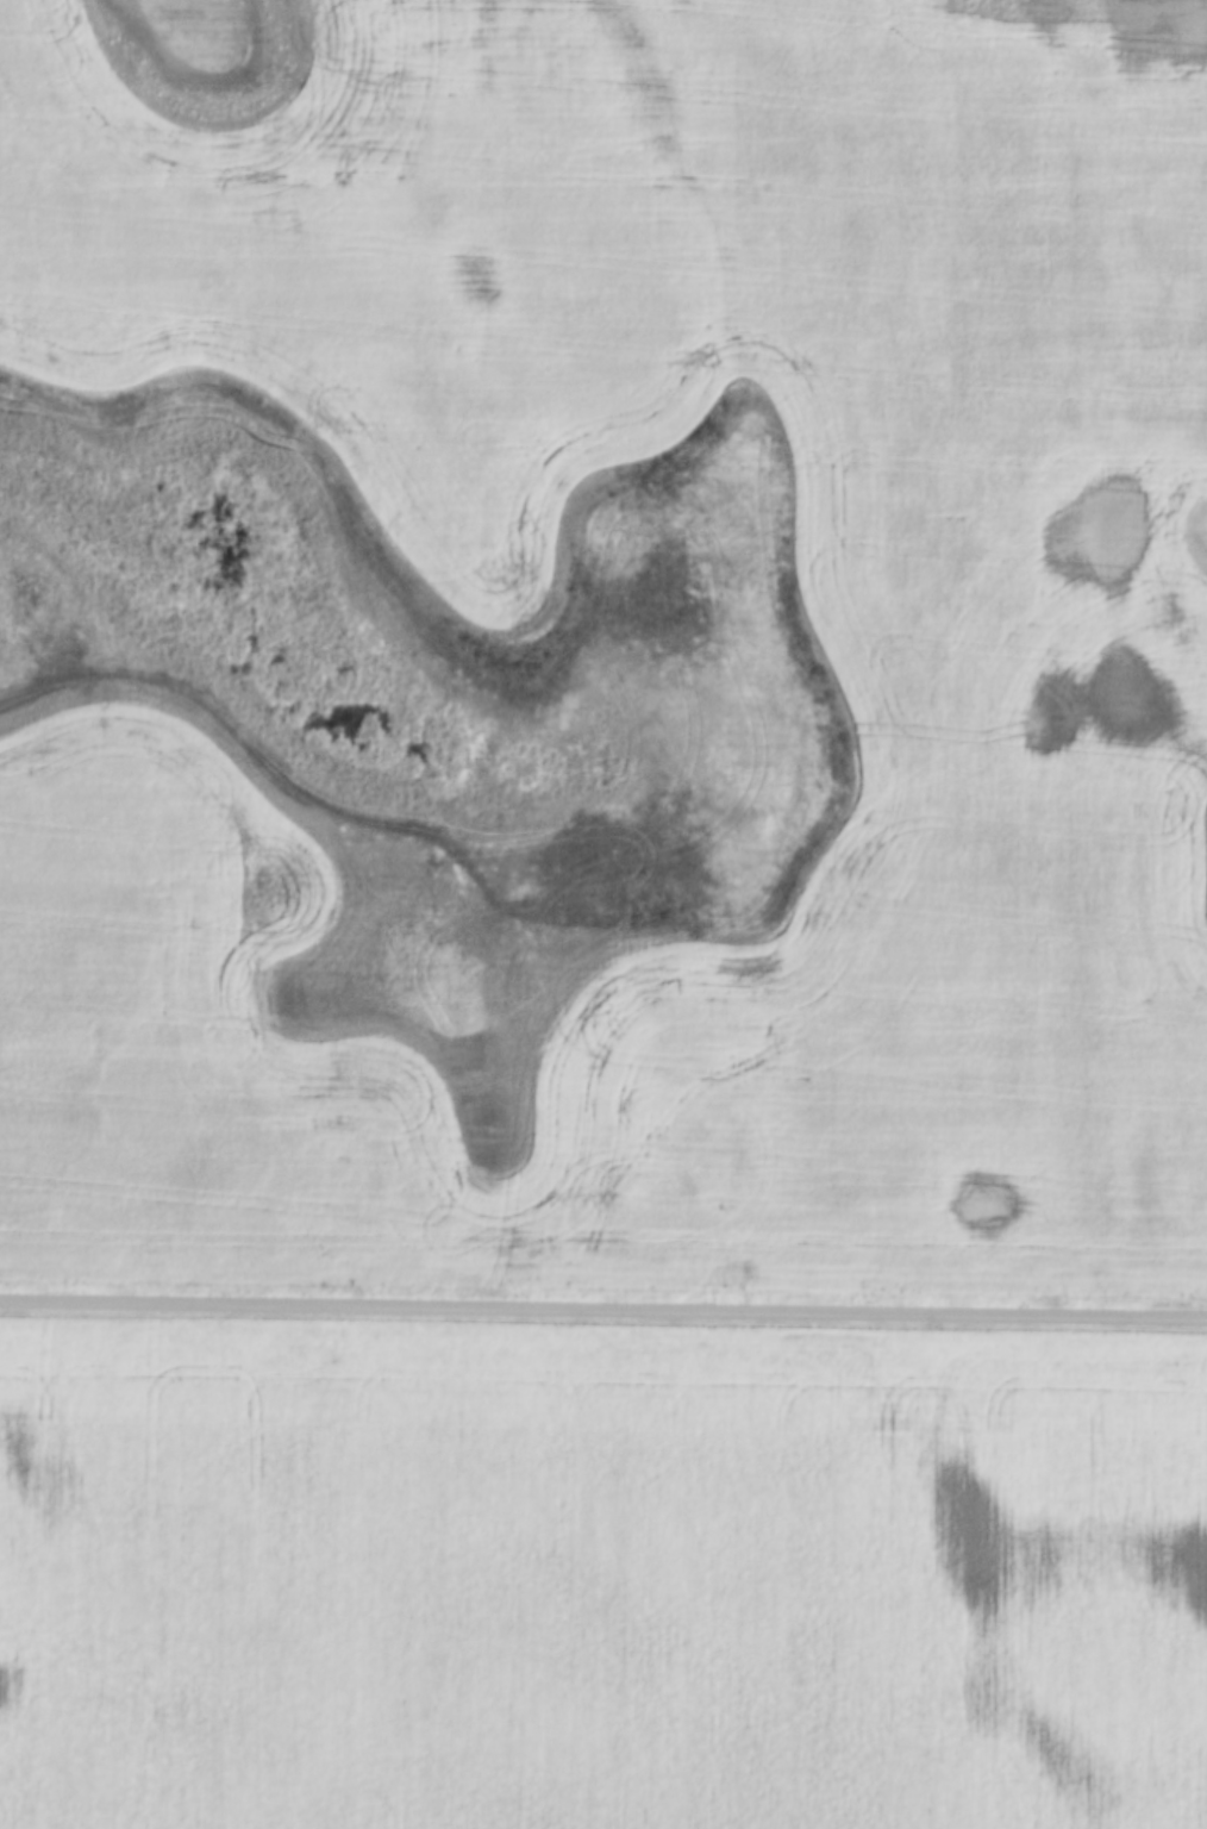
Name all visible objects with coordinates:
road: (602, 1312)

